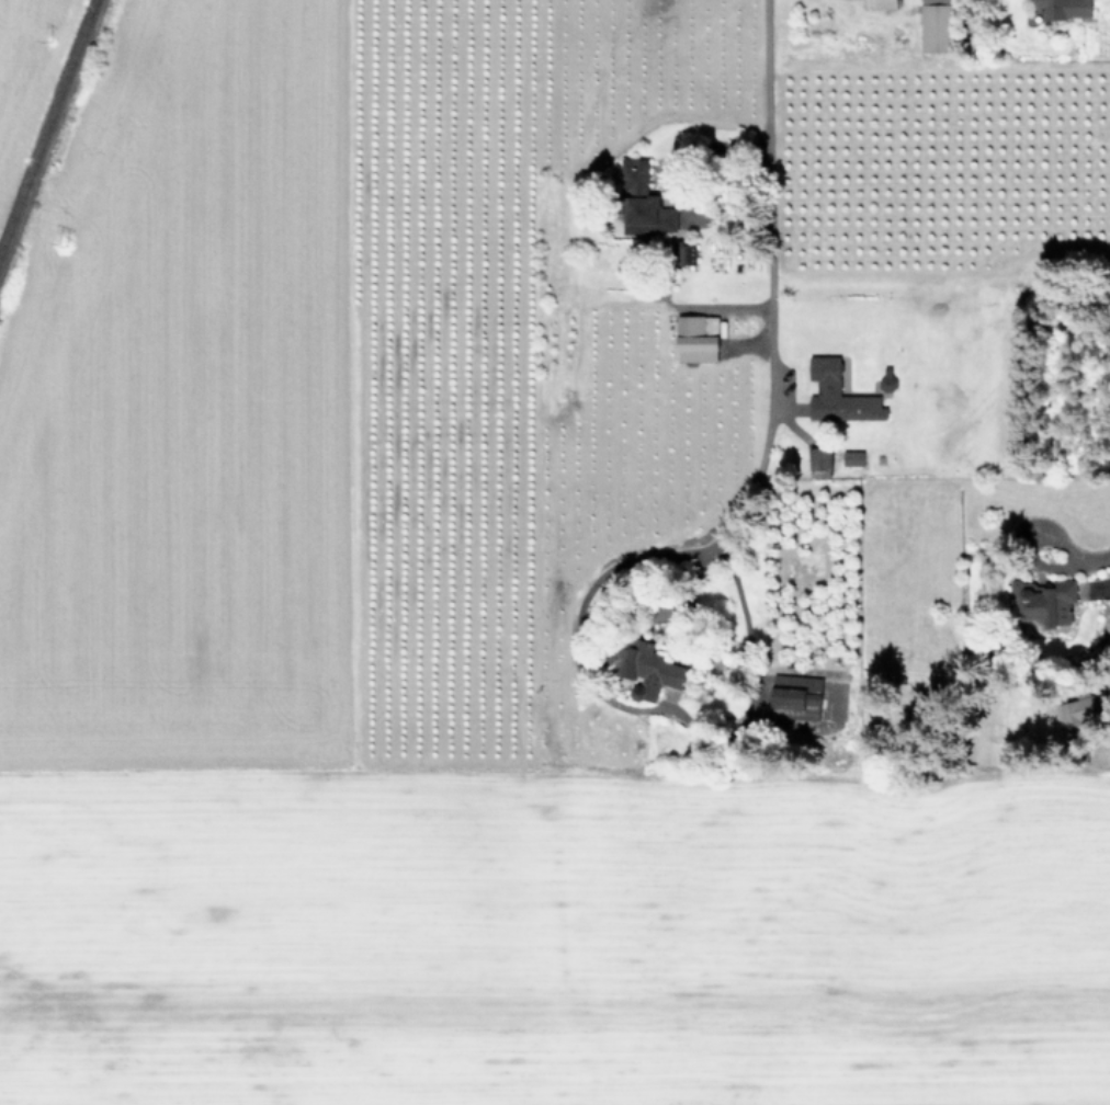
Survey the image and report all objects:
building: (880, 3)
building: (1064, 9)
building: (936, 25)
railway: (47, 126)
building: (642, 202)
building: (681, 252)
road: (770, 323)
building: (696, 332)
road: (550, 384)
building: (838, 395)
building: (819, 457)
building: (852, 457)
road: (1092, 561)
crop: (570, 565)
road: (609, 567)
building: (1043, 601)
building: (1108, 636)
building: (646, 669)
building: (795, 696)
building: (1078, 714)

